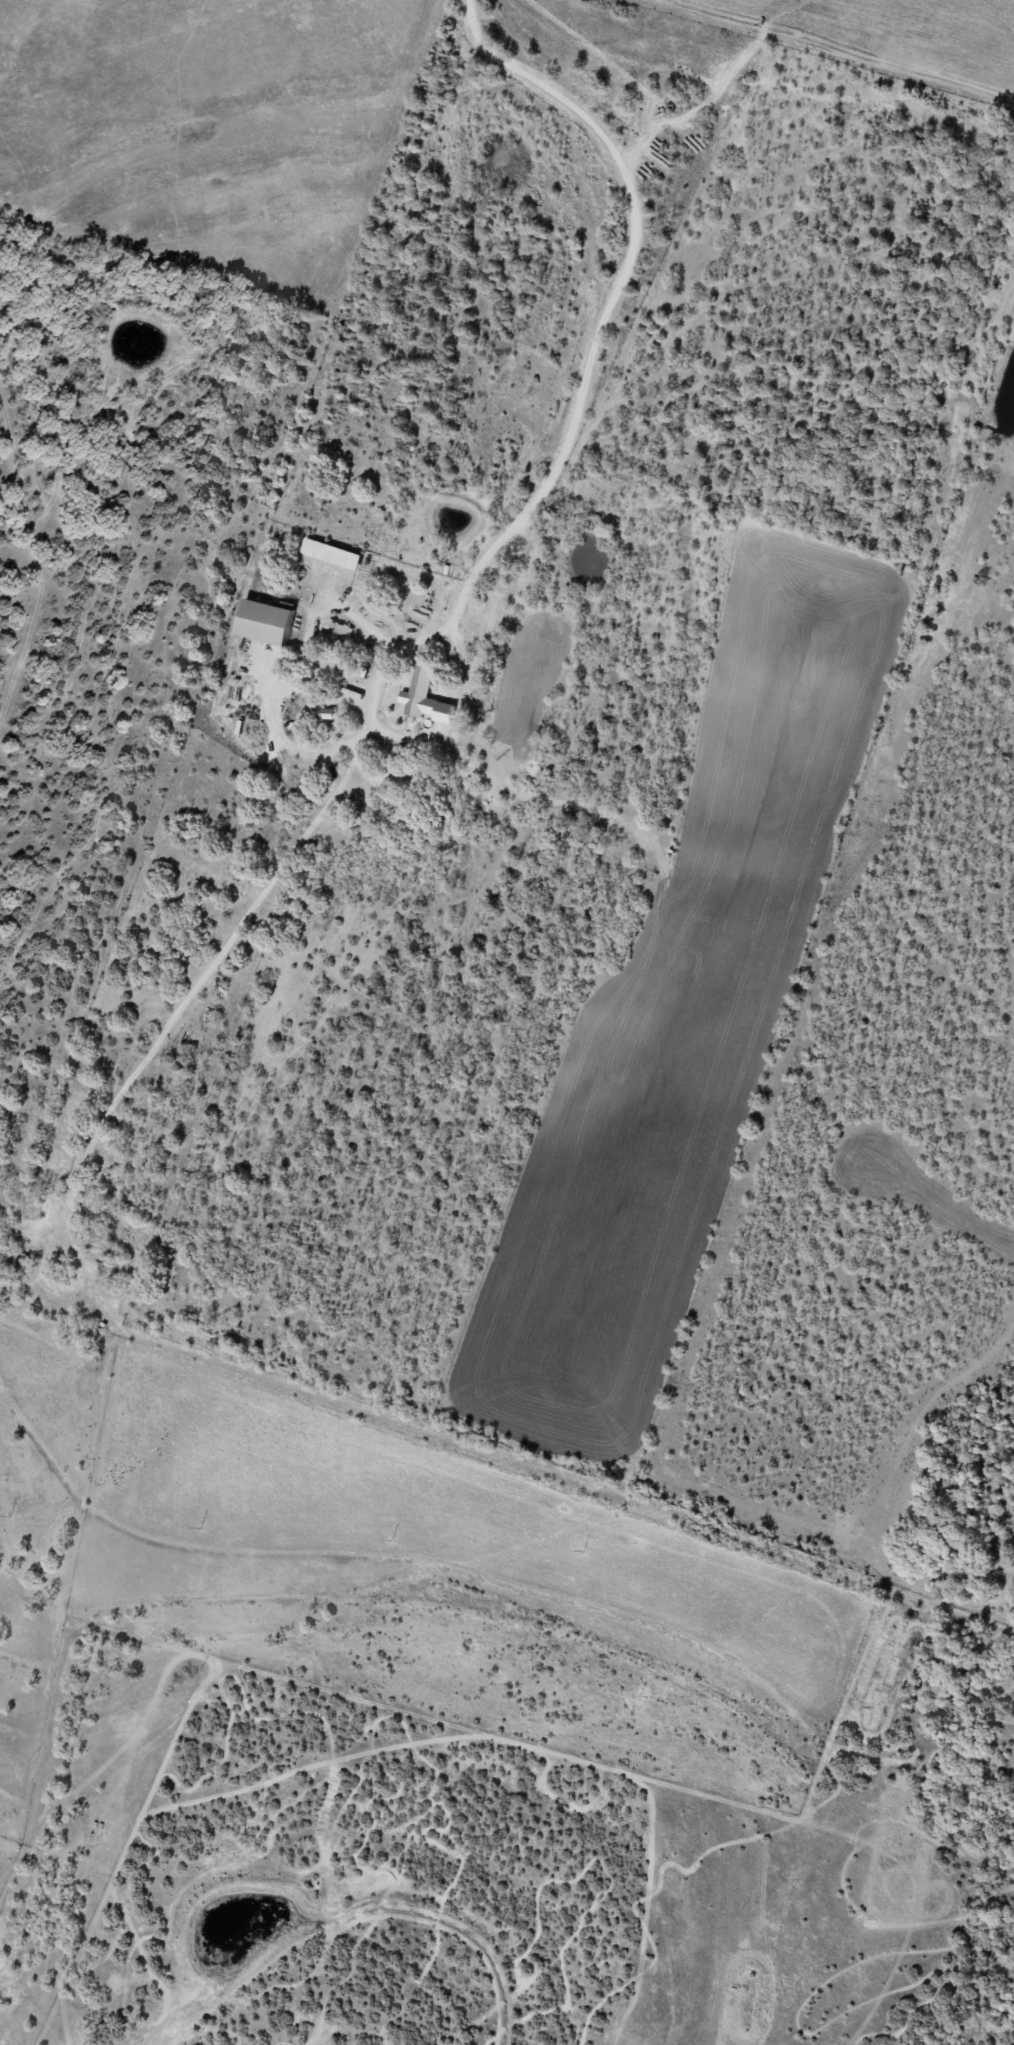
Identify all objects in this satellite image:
road: (593, 320)
building: (258, 622)
building: (421, 699)

